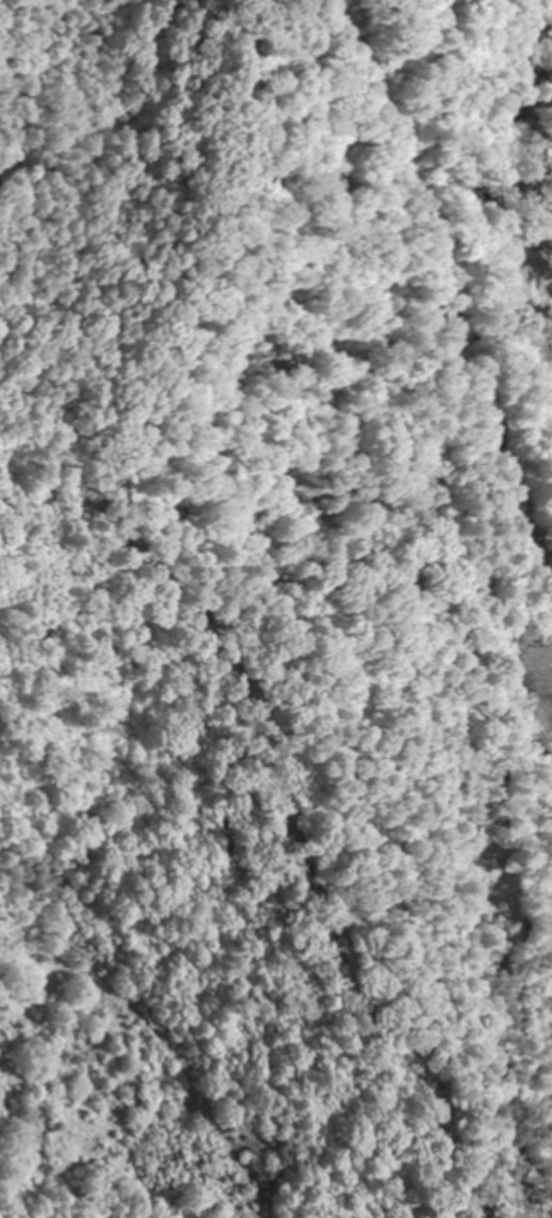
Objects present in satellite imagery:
road: (502, 203)

